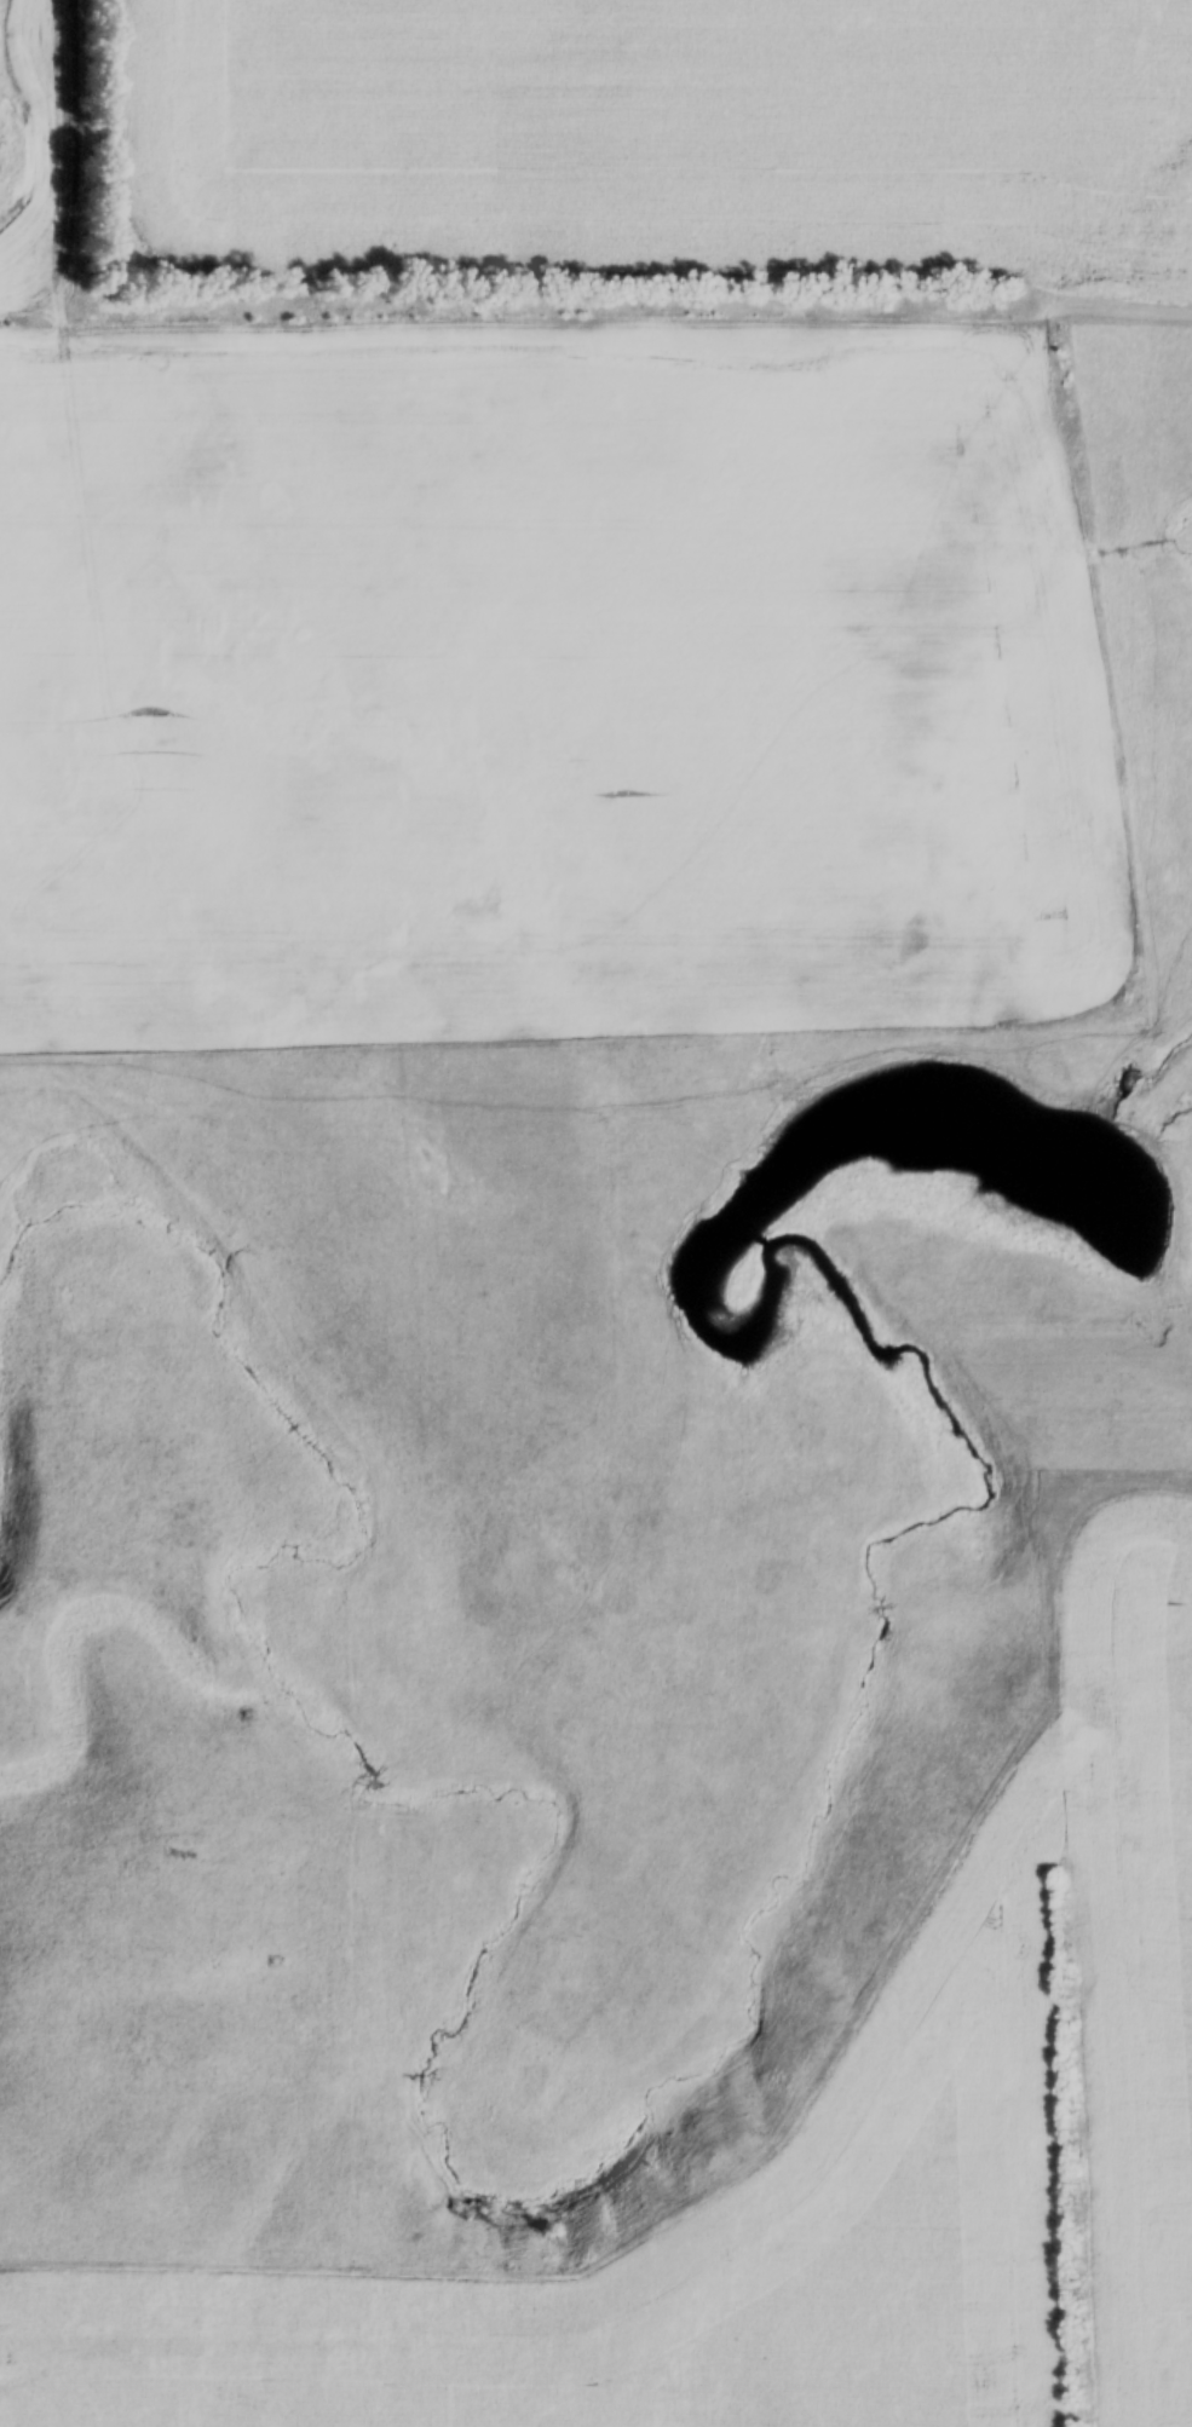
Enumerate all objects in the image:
river: (1065, 1186)

